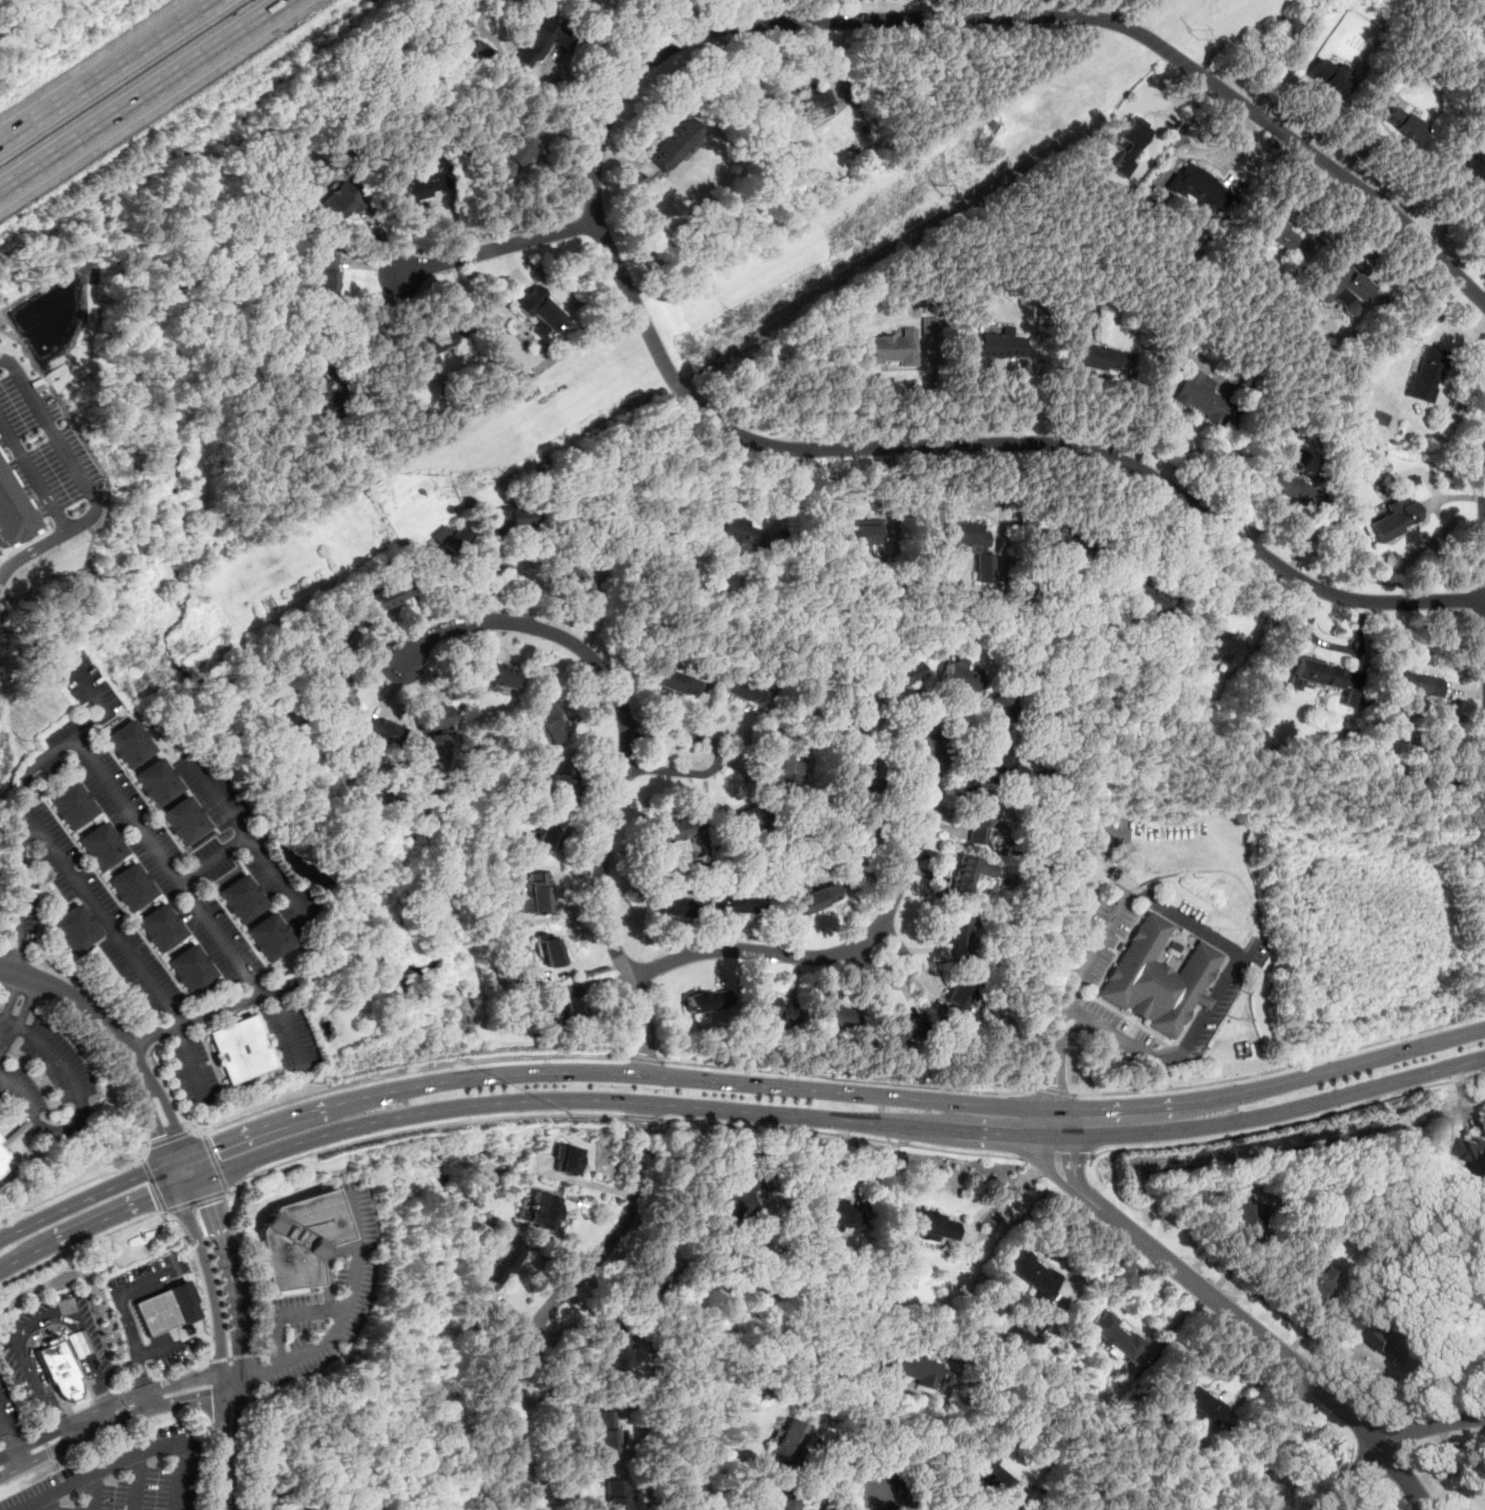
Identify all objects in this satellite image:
road: (1478, 4)
road: (1143, 16)
road: (228, 36)
building: (541, 41)
building: (479, 52)
road: (108, 72)
building: (1326, 78)
building: (808, 107)
building: (1401, 124)
road: (86, 129)
building: (675, 144)
building: (1126, 146)
building: (514, 155)
building: (1471, 165)
building: (1201, 186)
building: (421, 187)
power tower: (939, 188)
road: (594, 189)
building: (339, 203)
building: (1276, 232)
road: (499, 249)
building: (326, 276)
building: (1337, 286)
building: (537, 310)
road: (375, 321)
building: (928, 326)
building: (995, 343)
building: (431, 344)
building: (889, 349)
building: (1096, 358)
building: (1426, 374)
building: (316, 387)
road: (934, 394)
building: (1201, 397)
building: (1381, 419)
power tower: (507, 447)
road: (33, 476)
road: (78, 481)
building: (1288, 486)
building: (10, 513)
road: (1000, 513)
building: (511, 517)
building: (1394, 522)
building: (738, 530)
building: (1056, 542)
building: (446, 543)
building: (855, 543)
building: (969, 544)
building: (580, 587)
building: (1148, 593)
building: (389, 595)
building: (345, 632)
building: (1219, 645)
power tower: (190, 648)
building: (900, 675)
building: (1316, 675)
building: (501, 676)
building: (959, 677)
building: (675, 682)
building: (1418, 685)
building: (743, 688)
building: (338, 689)
building: (999, 707)
building: (447, 711)
building: (860, 716)
building: (435, 718)
building: (548, 720)
building: (380, 732)
building: (128, 745)
building: (436, 745)
road: (622, 757)
road: (716, 757)
building: (992, 760)
building: (778, 764)
building: (856, 771)
building: (157, 782)
building: (559, 785)
building: (71, 806)
road: (134, 809)
building: (744, 817)
building: (187, 821)
building: (976, 822)
building: (682, 826)
road: (237, 828)
building: (860, 832)
building: (544, 838)
building: (100, 846)
building: (969, 874)
road: (273, 877)
building: (129, 885)
building: (536, 892)
building: (243, 898)
building: (807, 899)
building: (739, 903)
building: (671, 905)
road: (99, 920)
road: (1184, 921)
road: (38, 922)
building: (161, 926)
building: (74, 929)
building: (957, 936)
building: (270, 937)
road: (853, 946)
road: (1, 951)
building: (551, 951)
road: (14, 953)
building: (191, 967)
building: (1156, 976)
road: (903, 980)
road: (86, 985)
building: (956, 995)
building: (706, 1000)
road: (19, 1001)
building: (763, 1004)
road: (86, 1005)
building: (572, 1008)
building: (836, 1017)
road: (284, 1023)
building: (902, 1028)
road: (5, 1037)
road: (139, 1042)
building: (239, 1048)
road: (644, 1059)
road: (190, 1060)
road: (1280, 1066)
road: (847, 1079)
road: (363, 1080)
road: (1054, 1090)
road: (826, 1092)
road: (79, 1102)
road: (620, 1102)
road: (1271, 1115)
road: (641, 1116)
road: (153, 1122)
road: (1285, 1125)
road: (1052, 1126)
road: (176, 1127)
road: (838, 1134)
traffic signals: (159, 1137)
road: (170, 1137)
building: (0, 1139)
traffic signals: (215, 1146)
road: (340, 1146)
road: (1054, 1153)
building: (1477, 1154)
building: (3, 1160)
building: (566, 1160)
road: (190, 1184)
road: (77, 1186)
traffic signals: (165, 1194)
road: (84, 1199)
traffic signals: (205, 1199)
building: (735, 1199)
building: (1239, 1205)
road: (983, 1209)
building: (543, 1210)
road: (157, 1212)
building: (836, 1213)
building: (934, 1225)
road: (88, 1227)
building: (297, 1239)
building: (502, 1264)
road: (208, 1267)
building: (653, 1272)
building: (1032, 1273)
road: (325, 1274)
road: (229, 1278)
building: (1311, 1281)
road: (191, 1289)
road: (1209, 1294)
road: (553, 1300)
road: (347, 1305)
building: (157, 1313)
road: (124, 1314)
road: (281, 1315)
road: (1173, 1325)
road: (42, 1326)
building: (1116, 1337)
building: (1019, 1339)
building: (1392, 1339)
building: (615, 1355)
road: (230, 1357)
building: (898, 1365)
road: (250, 1370)
building: (60, 1371)
road: (173, 1374)
road: (251, 1377)
road: (232, 1378)
road: (141, 1380)
road: (145, 1380)
road: (241, 1385)
road: (232, 1387)
road: (117, 1388)
road: (187, 1400)
road: (107, 1404)
building: (1202, 1405)
road: (3, 1424)
road: (1433, 1426)
building: (606, 1436)
road: (74, 1439)
road: (218, 1442)
road: (883, 1443)
building: (783, 1444)
road: (14, 1446)
road: (251, 1448)
road: (235, 1450)
road: (127, 1459)
building: (1278, 1460)
road: (1352, 1475)
building: (991, 1476)
road: (1406, 1476)
parking lot: (124, 1477)
road: (837, 1478)
road: (135, 1483)
road: (91, 1492)
building: (616, 1494)
road: (50, 1503)
building: (782, 1503)
road: (892, 1503)
building: (372, 1509)
building: (374, 1509)

